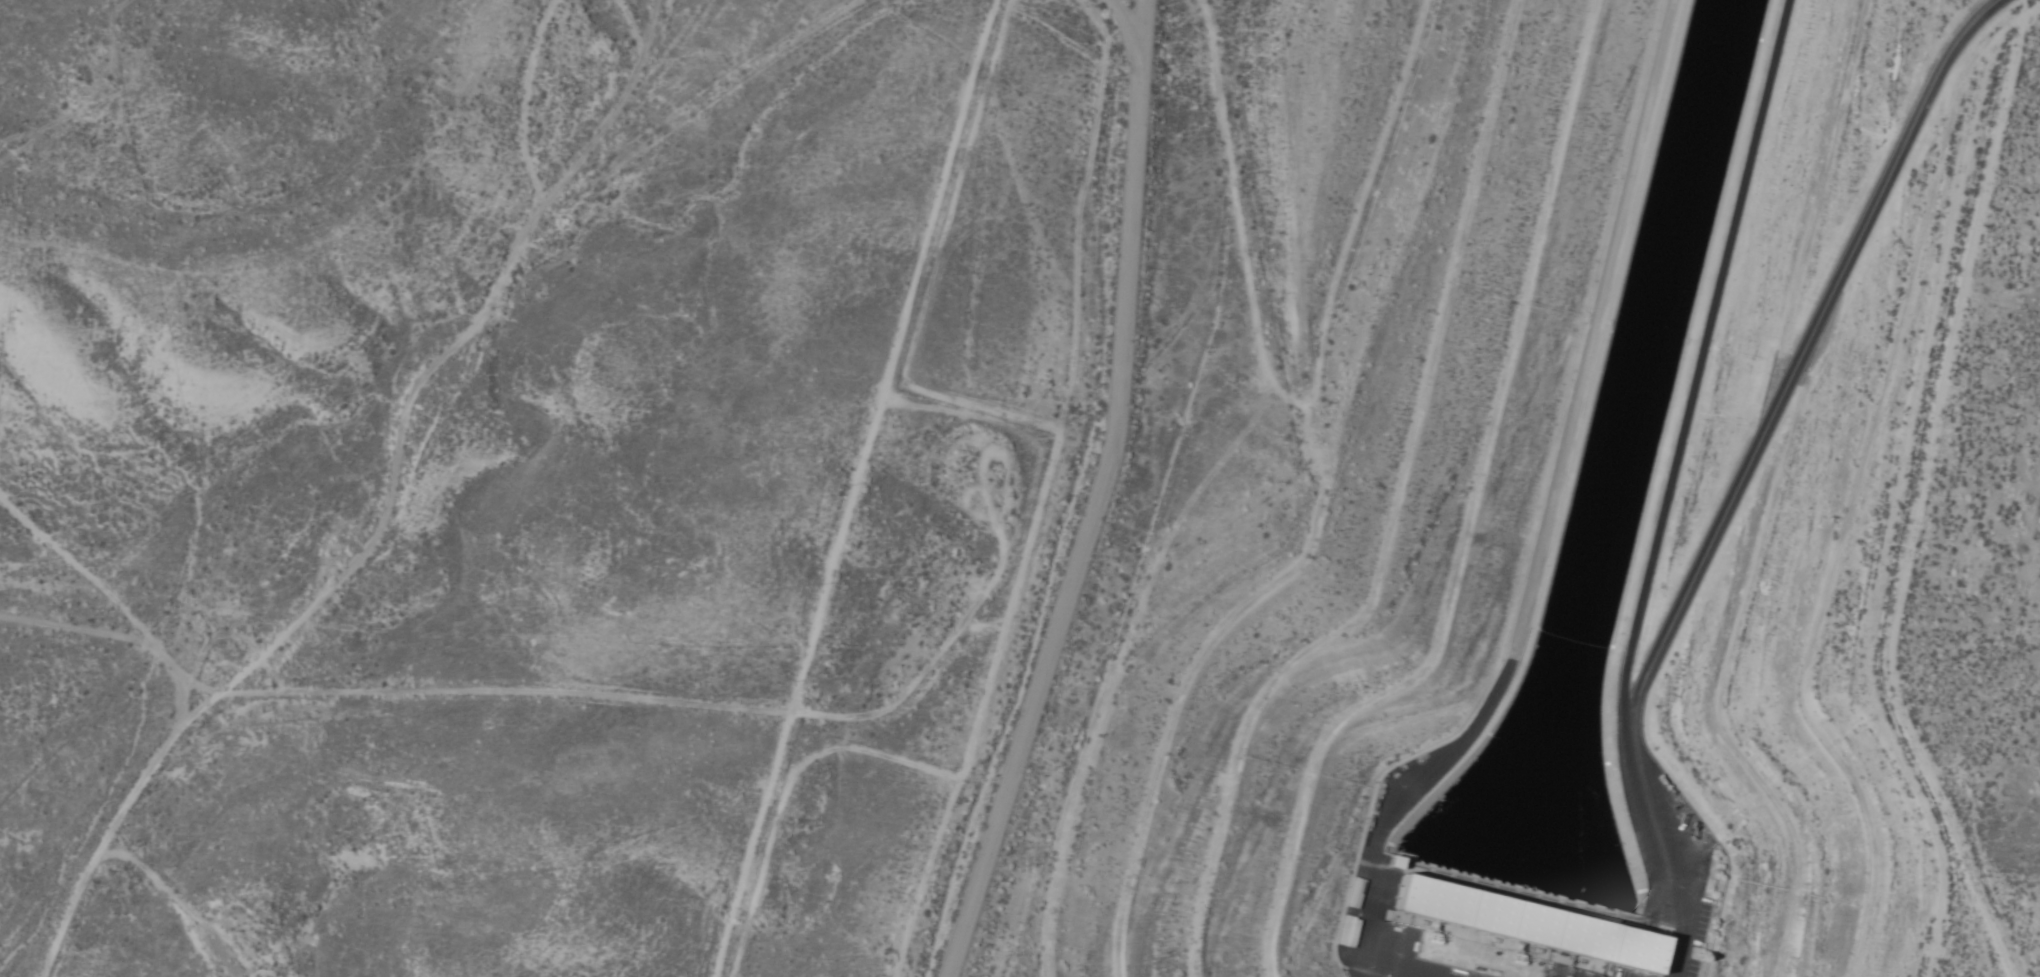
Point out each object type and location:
road: (1117, 30)
road: (1138, 30)
road: (615, 120)
road: (1592, 330)
road: (1802, 351)
road: (1700, 357)
road: (447, 439)
road: (854, 488)
road: (1079, 526)
road: (484, 699)
road: (1388, 812)
road: (1664, 845)
road: (207, 918)
building: (1524, 924)
power tower: (1428, 937)
power tower: (1514, 958)

